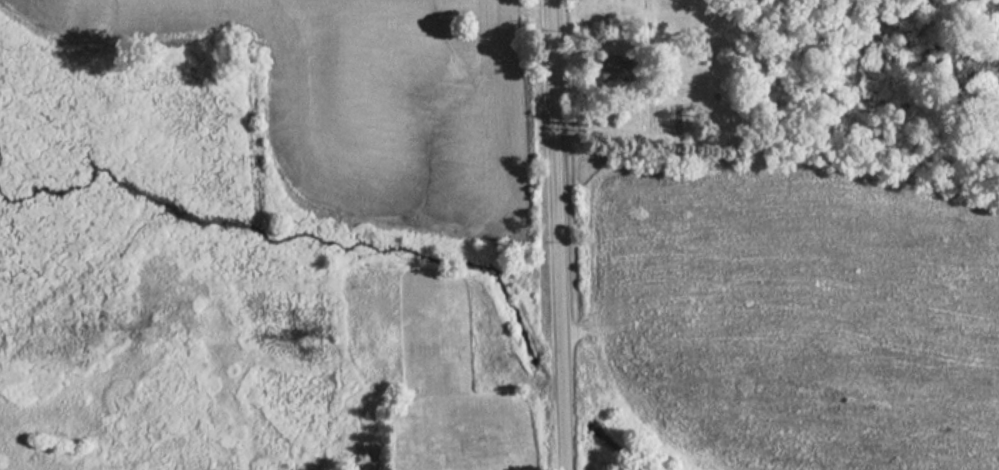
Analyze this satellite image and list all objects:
building: (616, 69)
crop: (365, 91)
road: (557, 234)
crop: (809, 327)
road: (574, 333)
building: (361, 451)

